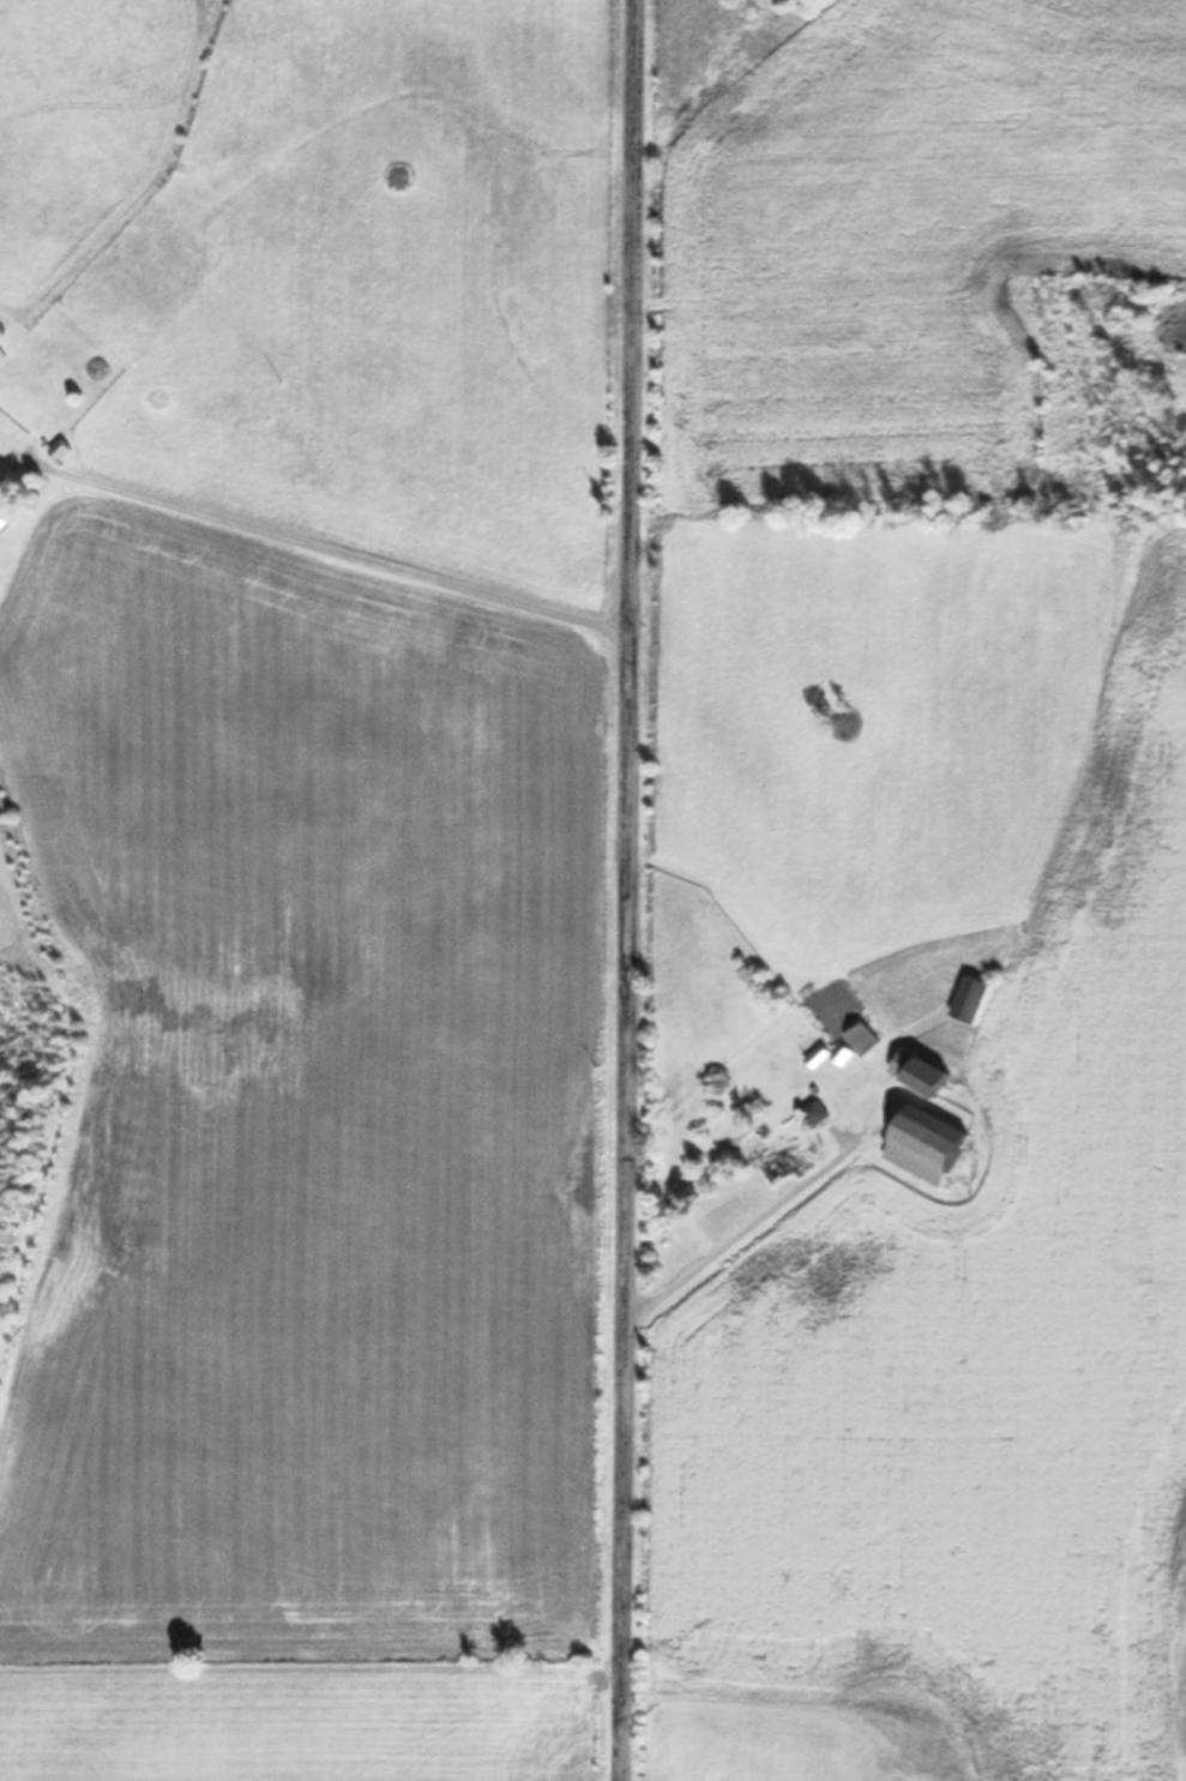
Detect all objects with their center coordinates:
building: (59, 450)
building: (2, 522)
road: (339, 535)
road: (626, 890)
building: (968, 999)
building: (917, 1072)
building: (926, 1144)
building: (783, 1163)

